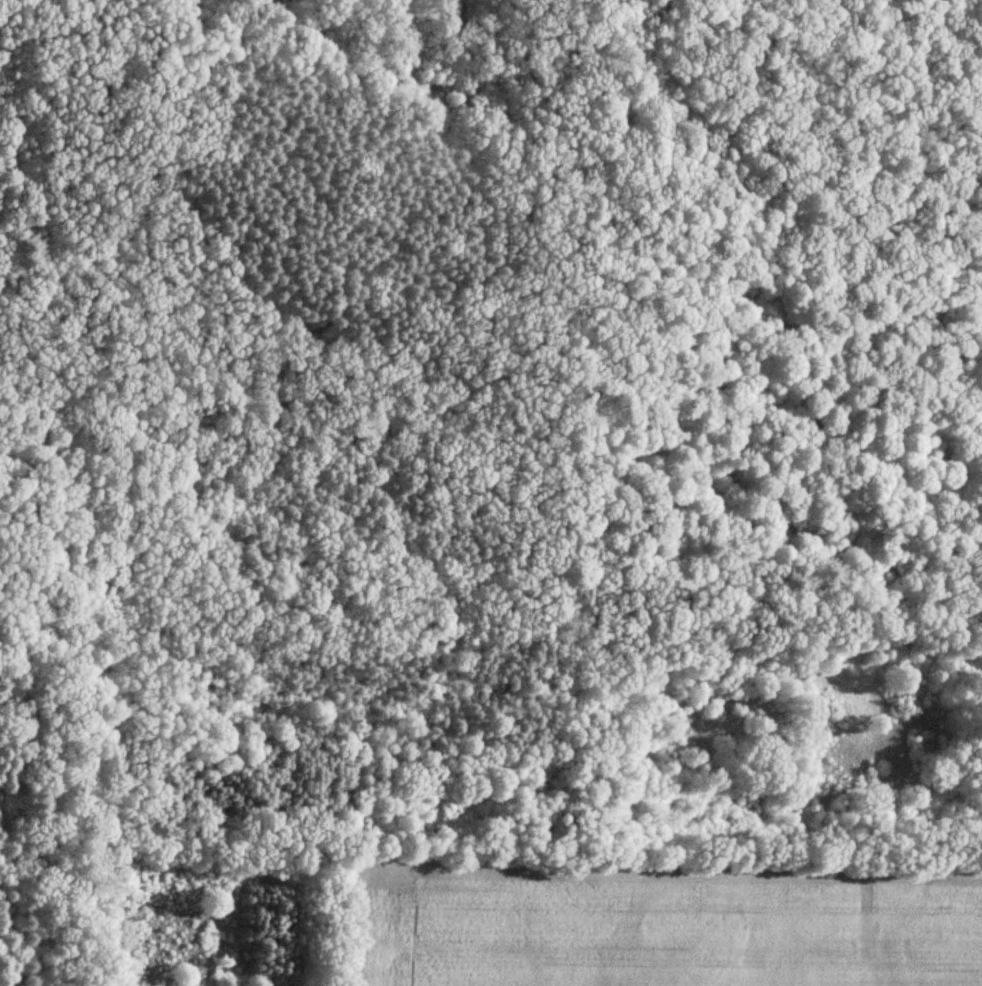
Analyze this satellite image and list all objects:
road: (18, 5)

